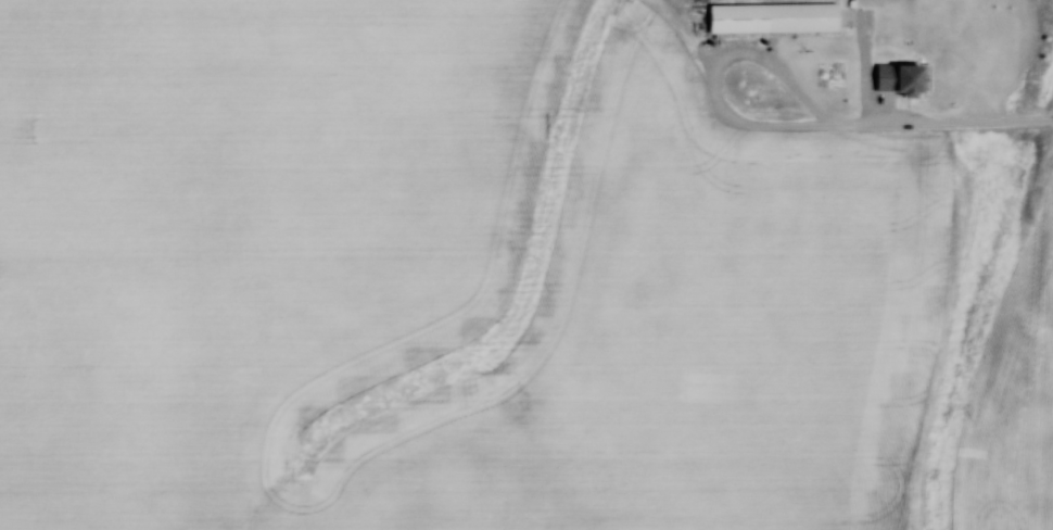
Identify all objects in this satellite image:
building: (771, 17)
road: (718, 101)
road: (951, 129)

